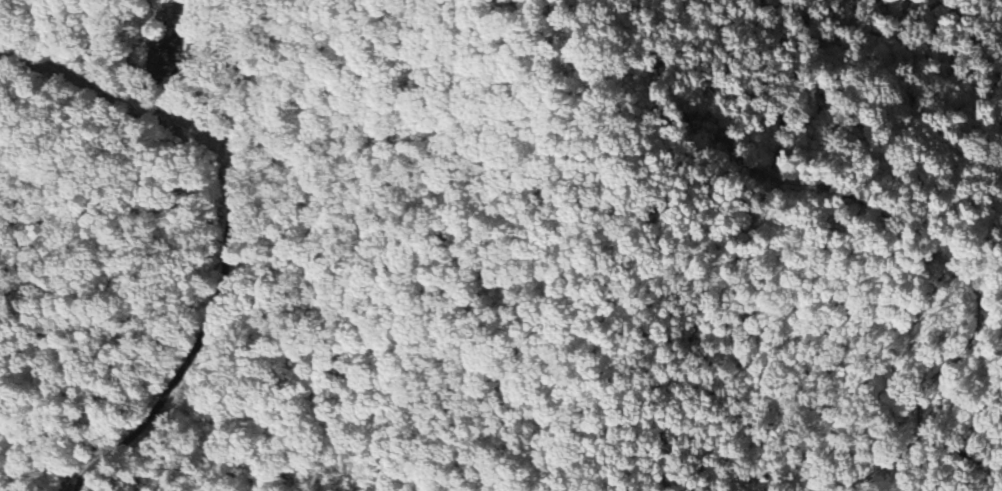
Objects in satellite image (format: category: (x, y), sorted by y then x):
road: (33, 28)
road: (224, 272)

